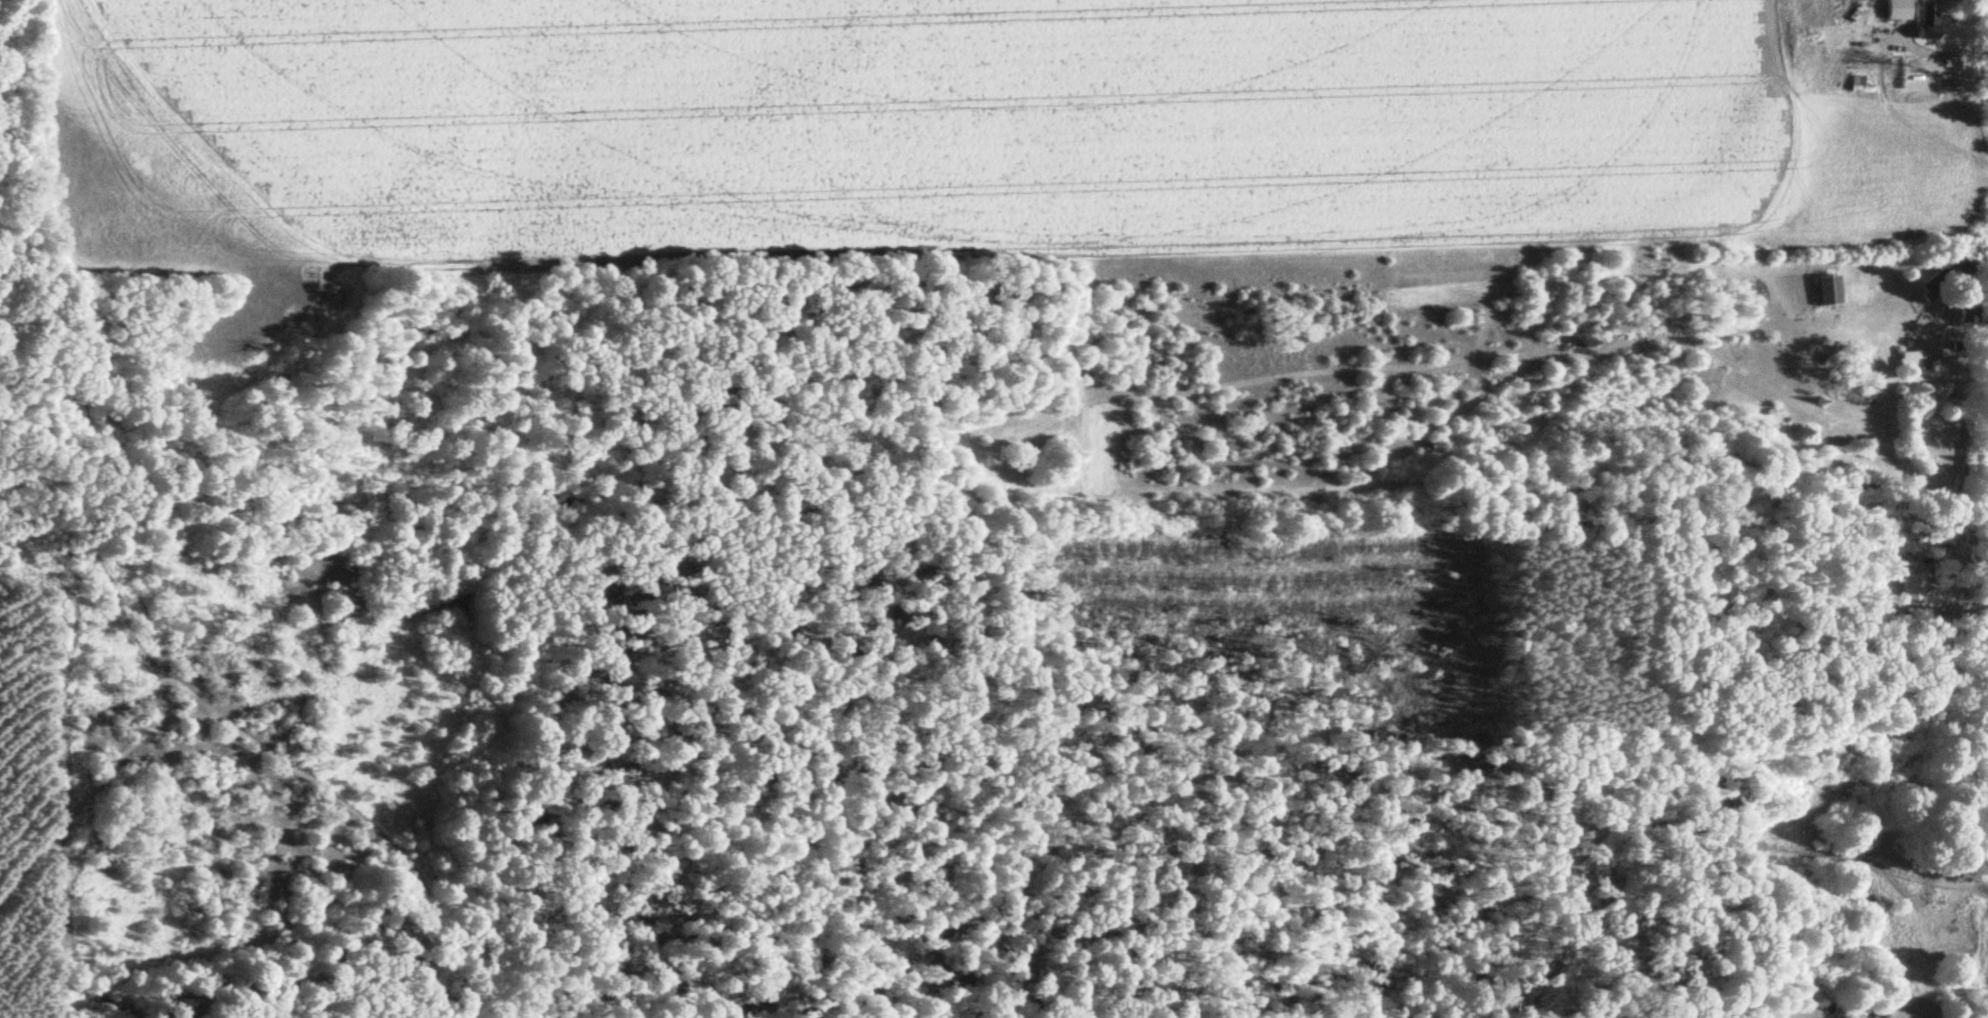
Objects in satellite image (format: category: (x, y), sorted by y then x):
building: (1923, 23)
road: (1903, 34)
road: (1896, 45)
road: (1945, 57)
building: (1856, 86)
building: (1943, 276)
building: (1828, 288)
road: (1983, 304)
building: (1914, 359)
road: (1905, 470)
road: (276, 758)

